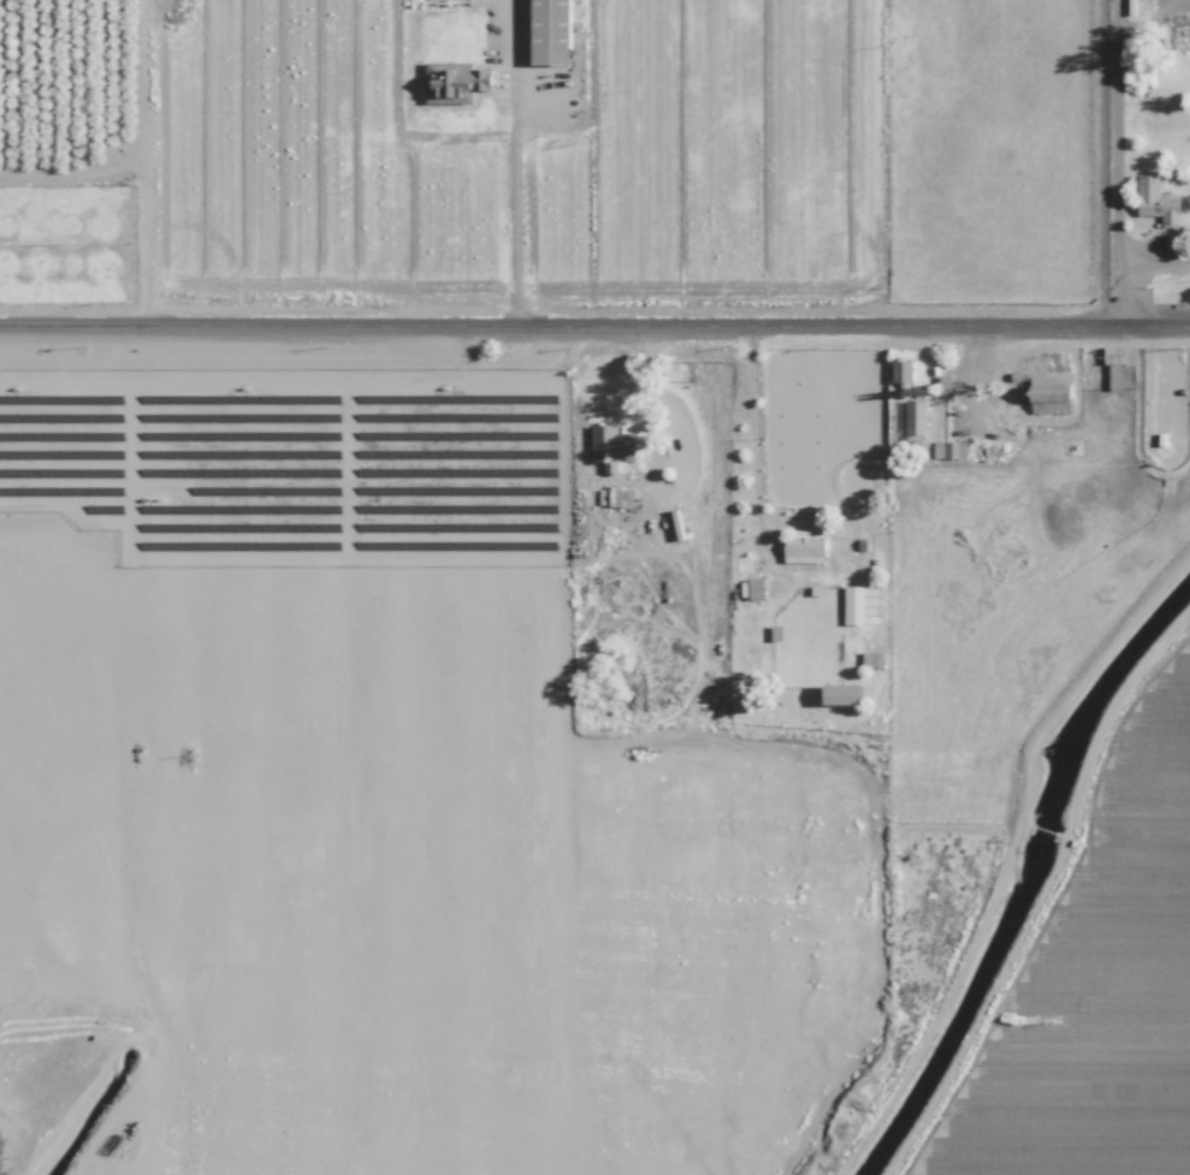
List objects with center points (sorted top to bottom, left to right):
building: (550, 31)
building: (455, 78)
road: (1124, 162)
crop: (504, 171)
road: (504, 200)
building: (1158, 201)
road: (594, 325)
building: (1125, 354)
building: (901, 369)
building: (1052, 391)
building: (916, 419)
building: (608, 443)
building: (805, 545)
building: (756, 587)
building: (853, 604)
building: (843, 694)
crop: (1093, 974)

